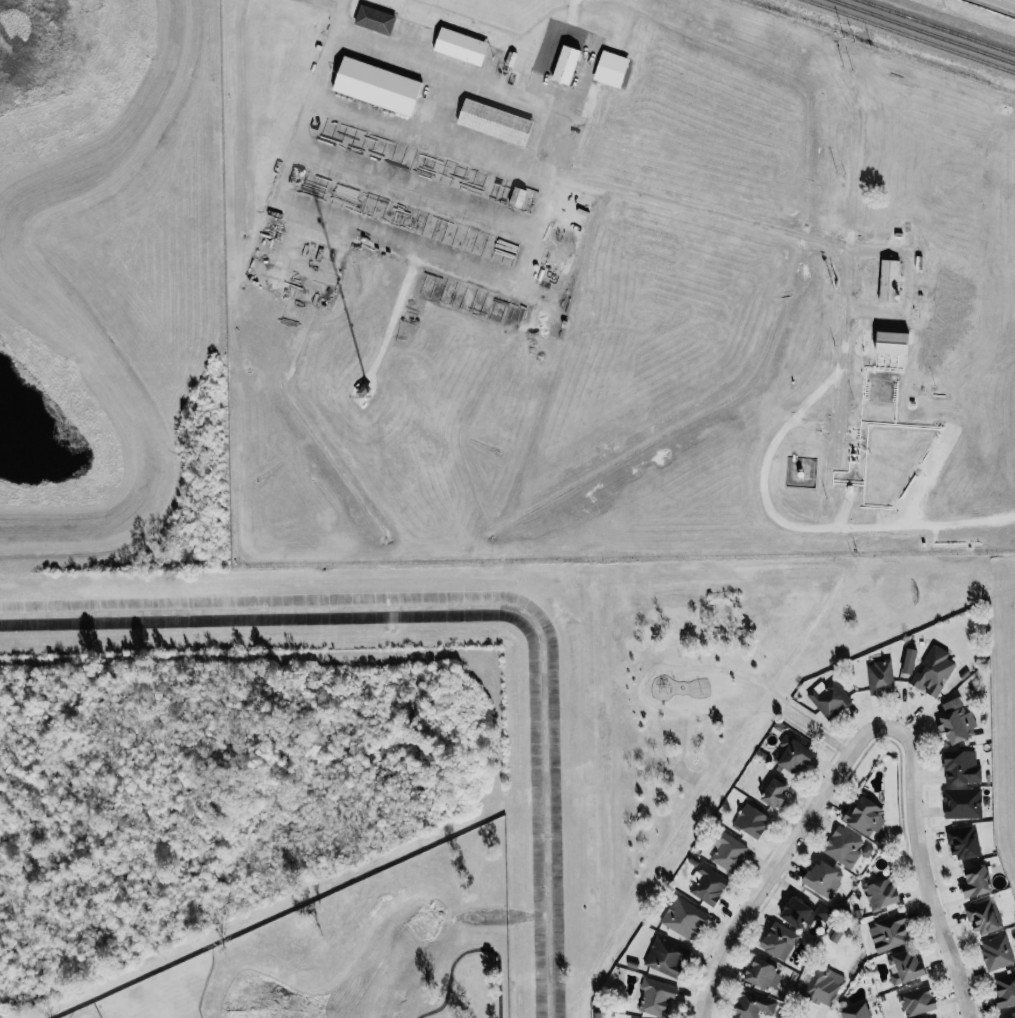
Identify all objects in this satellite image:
building: (375, 19)
railway: (937, 27)
railway: (925, 31)
railway: (909, 35)
building: (461, 46)
building: (567, 64)
road: (438, 66)
building: (612, 68)
building: (378, 86)
road: (436, 102)
building: (496, 121)
road: (432, 137)
road: (562, 142)
building: (518, 197)
road: (371, 234)
road: (812, 237)
building: (890, 281)
building: (894, 343)
road: (841, 387)
road: (814, 395)
road: (818, 526)
building: (910, 659)
building: (933, 669)
building: (880, 677)
park: (718, 689)
building: (829, 697)
building: (956, 720)
building: (796, 756)
building: (962, 766)
building: (775, 792)
building: (963, 802)
building: (865, 814)
building: (752, 819)
building: (964, 841)
building: (846, 846)
building: (727, 850)
road: (779, 857)
road: (924, 870)
building: (825, 877)
building: (977, 881)
building: (708, 884)
building: (881, 893)
building: (804, 911)
building: (984, 916)
building: (684, 917)
building: (889, 932)
building: (780, 940)
building: (997, 951)
building: (666, 956)
building: (905, 965)
building: (763, 973)
building: (822, 985)
building: (1005, 989)
building: (656, 996)
building: (917, 1001)
building: (757, 1006)
building: (858, 1011)
building: (1011, 1017)

